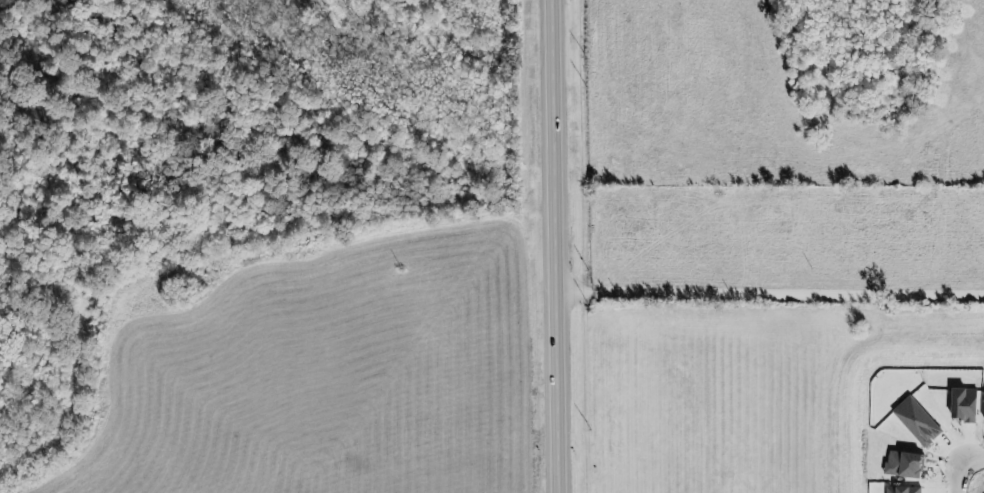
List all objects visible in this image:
road: (949, 193)
road: (558, 246)
road: (771, 297)
road: (967, 476)

